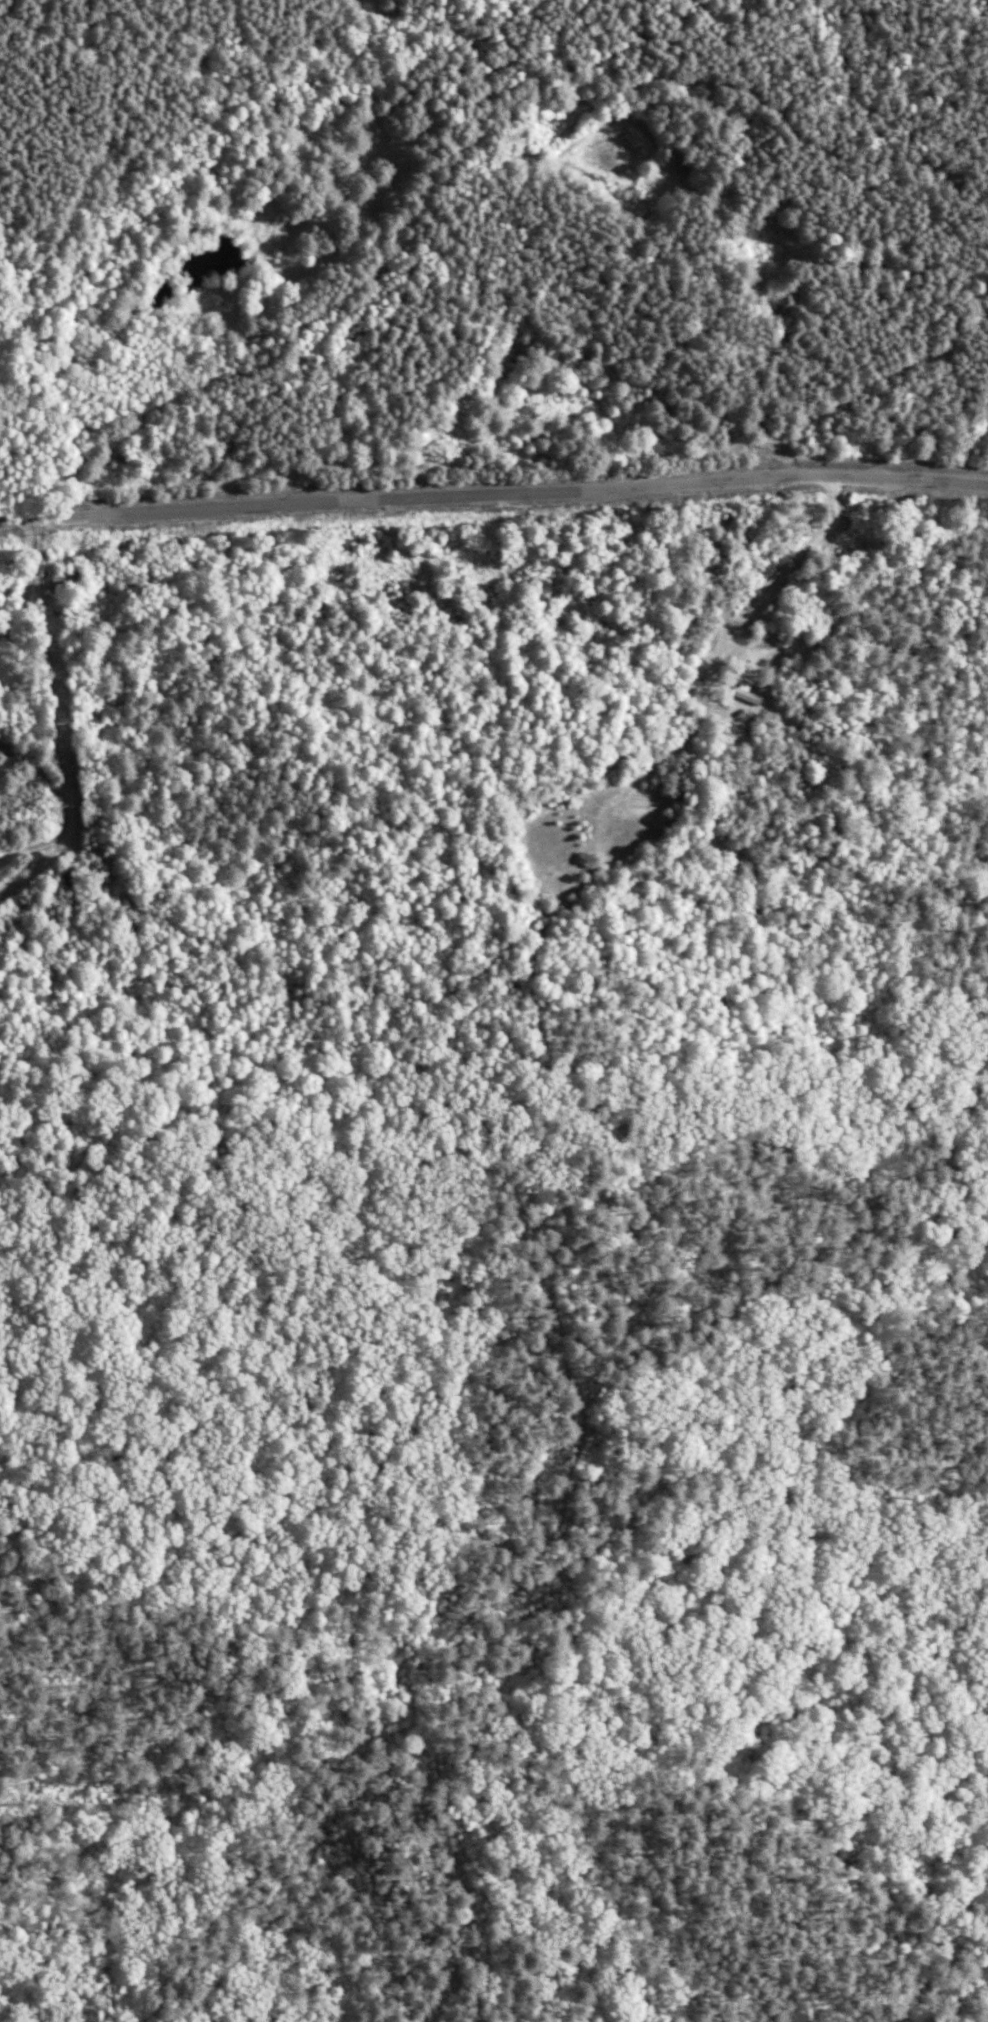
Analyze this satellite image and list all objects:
road: (493, 494)
road: (36, 579)
building: (70, 580)
road: (755, 596)
road: (37, 802)
building: (70, 881)

